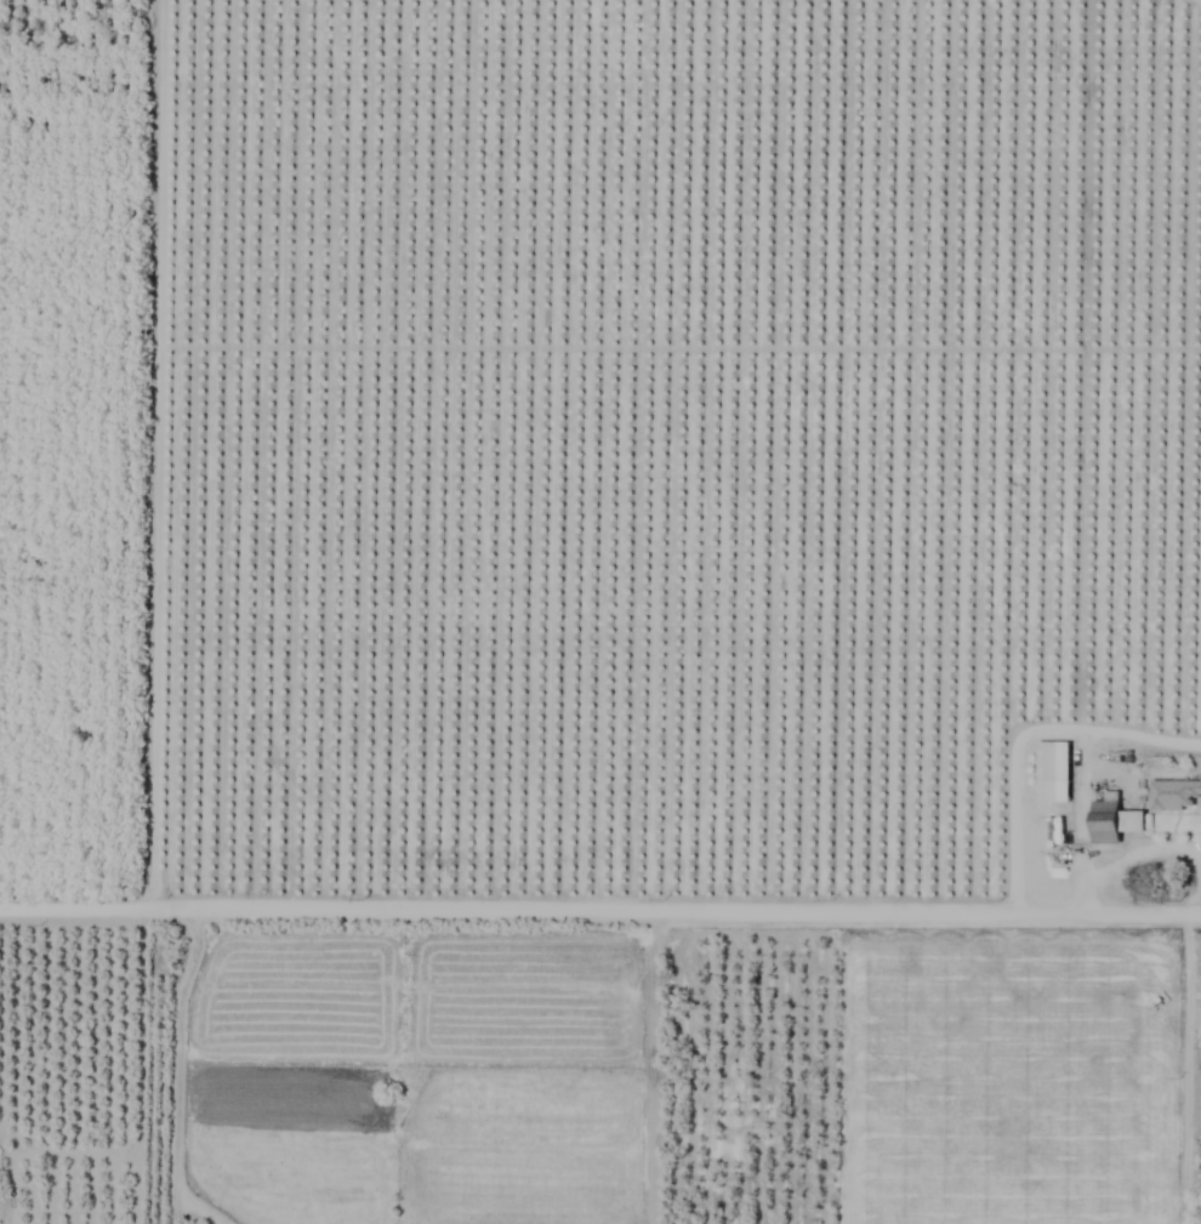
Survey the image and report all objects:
building: (267, 488)
crop: (600, 611)
road: (1025, 730)
building: (1052, 772)
building: (1172, 795)
building: (1111, 820)
road: (1134, 844)
road: (599, 910)
road: (1185, 1068)
road: (171, 1071)

